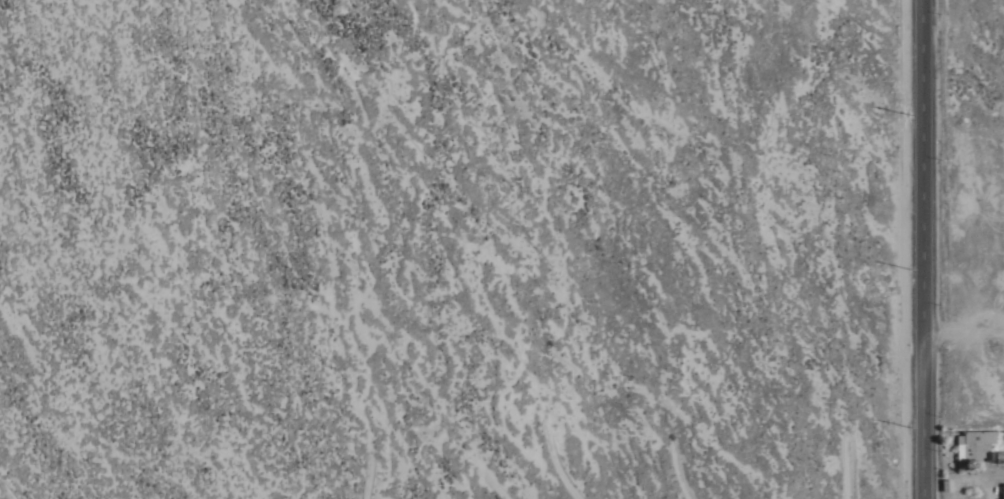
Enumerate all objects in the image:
road: (927, 249)
road: (966, 334)
building: (975, 446)
building: (1003, 491)

